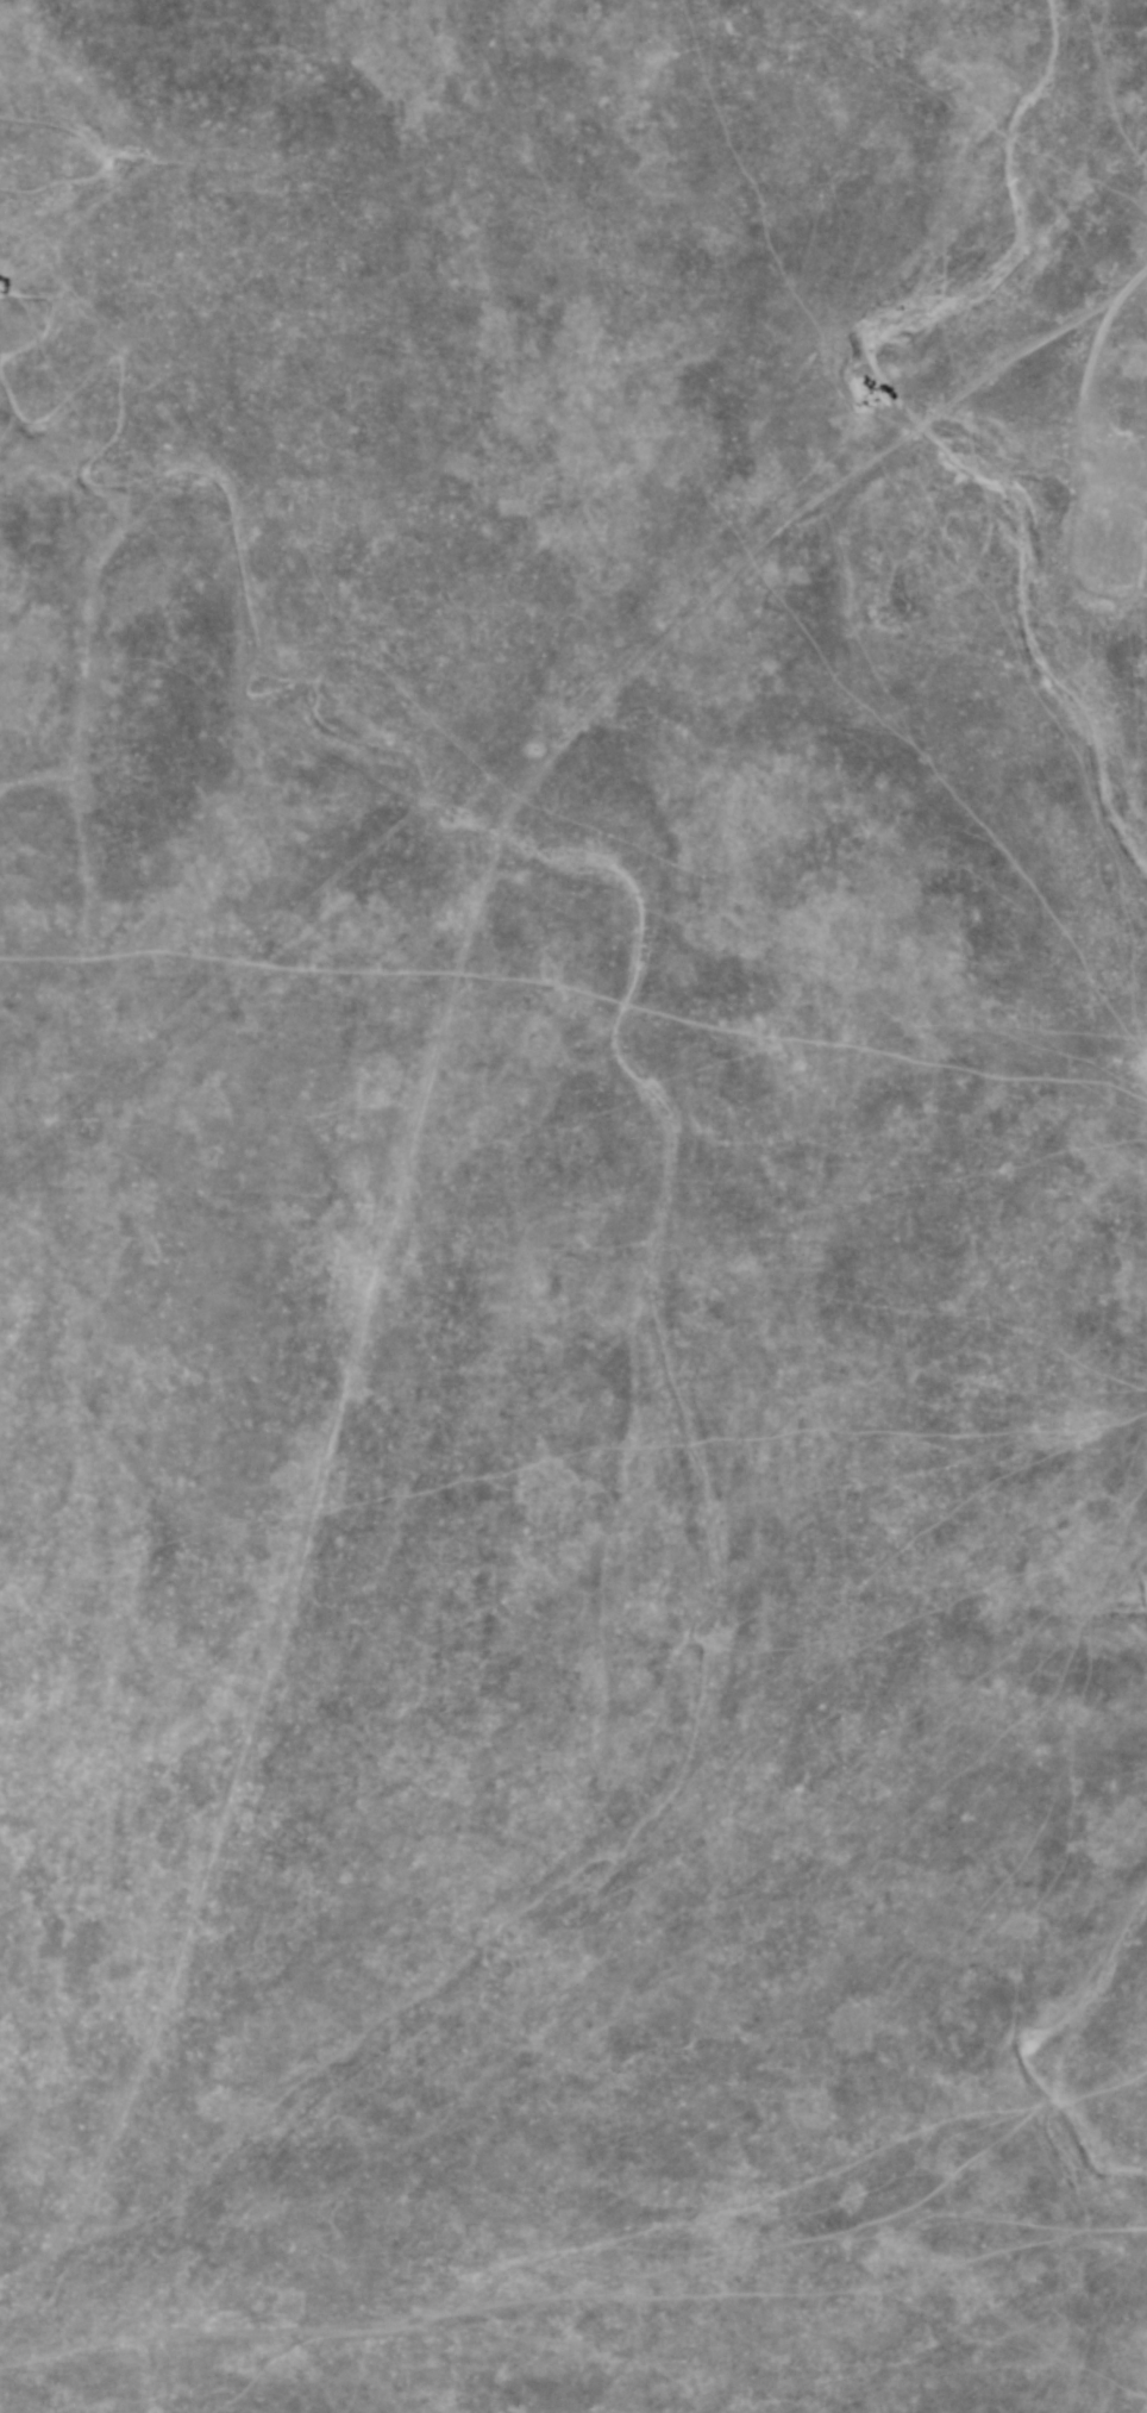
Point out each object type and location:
road: (402, 1182)

